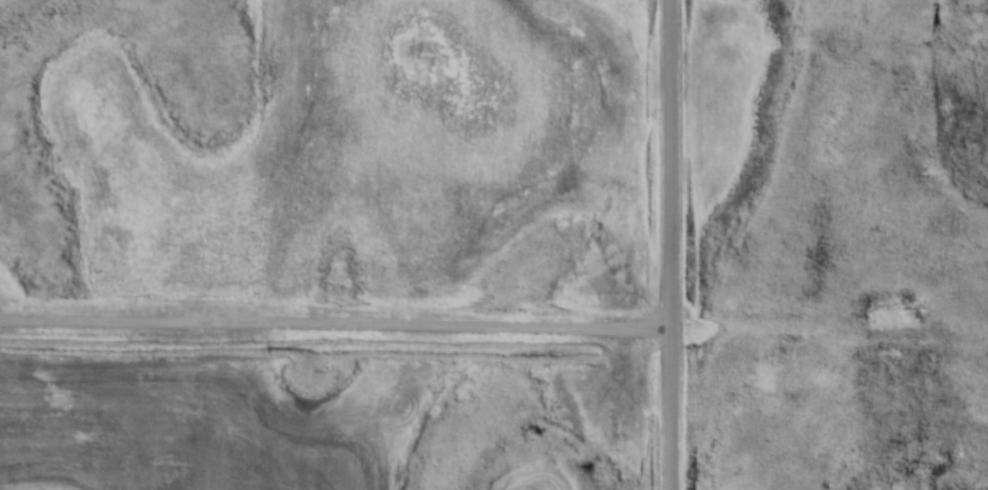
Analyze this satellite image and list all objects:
road: (670, 245)
road: (335, 336)

